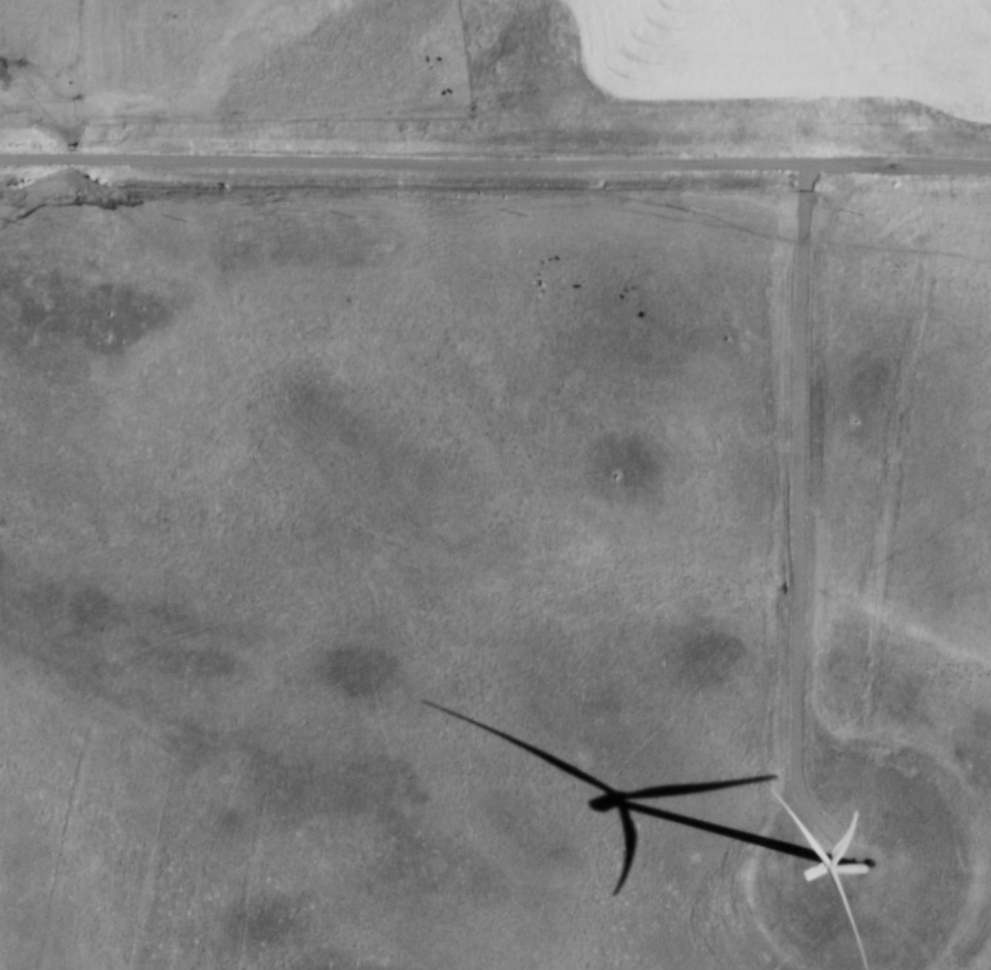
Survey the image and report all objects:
road: (495, 166)
wind turbine: (860, 871)

